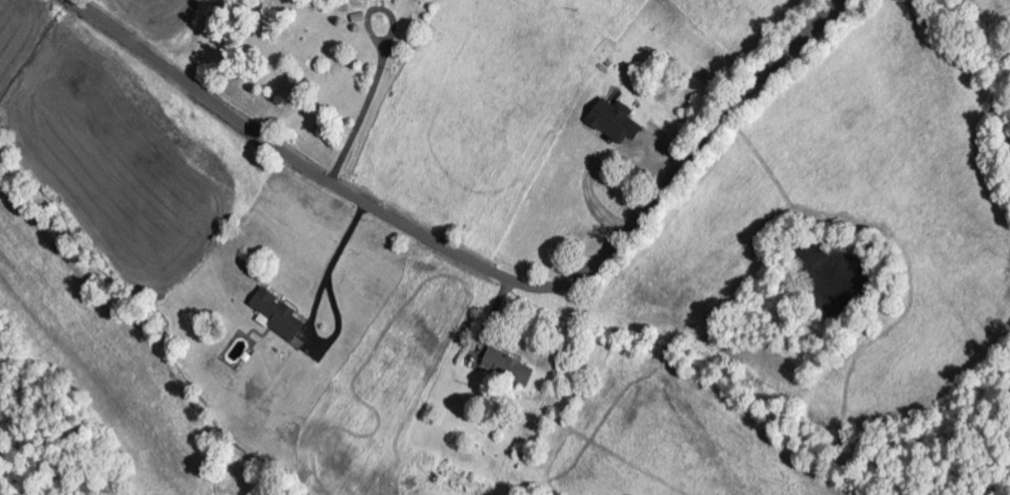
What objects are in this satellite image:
building: (383, 0)
building: (613, 121)
road: (478, 267)
building: (276, 315)
building: (517, 372)

